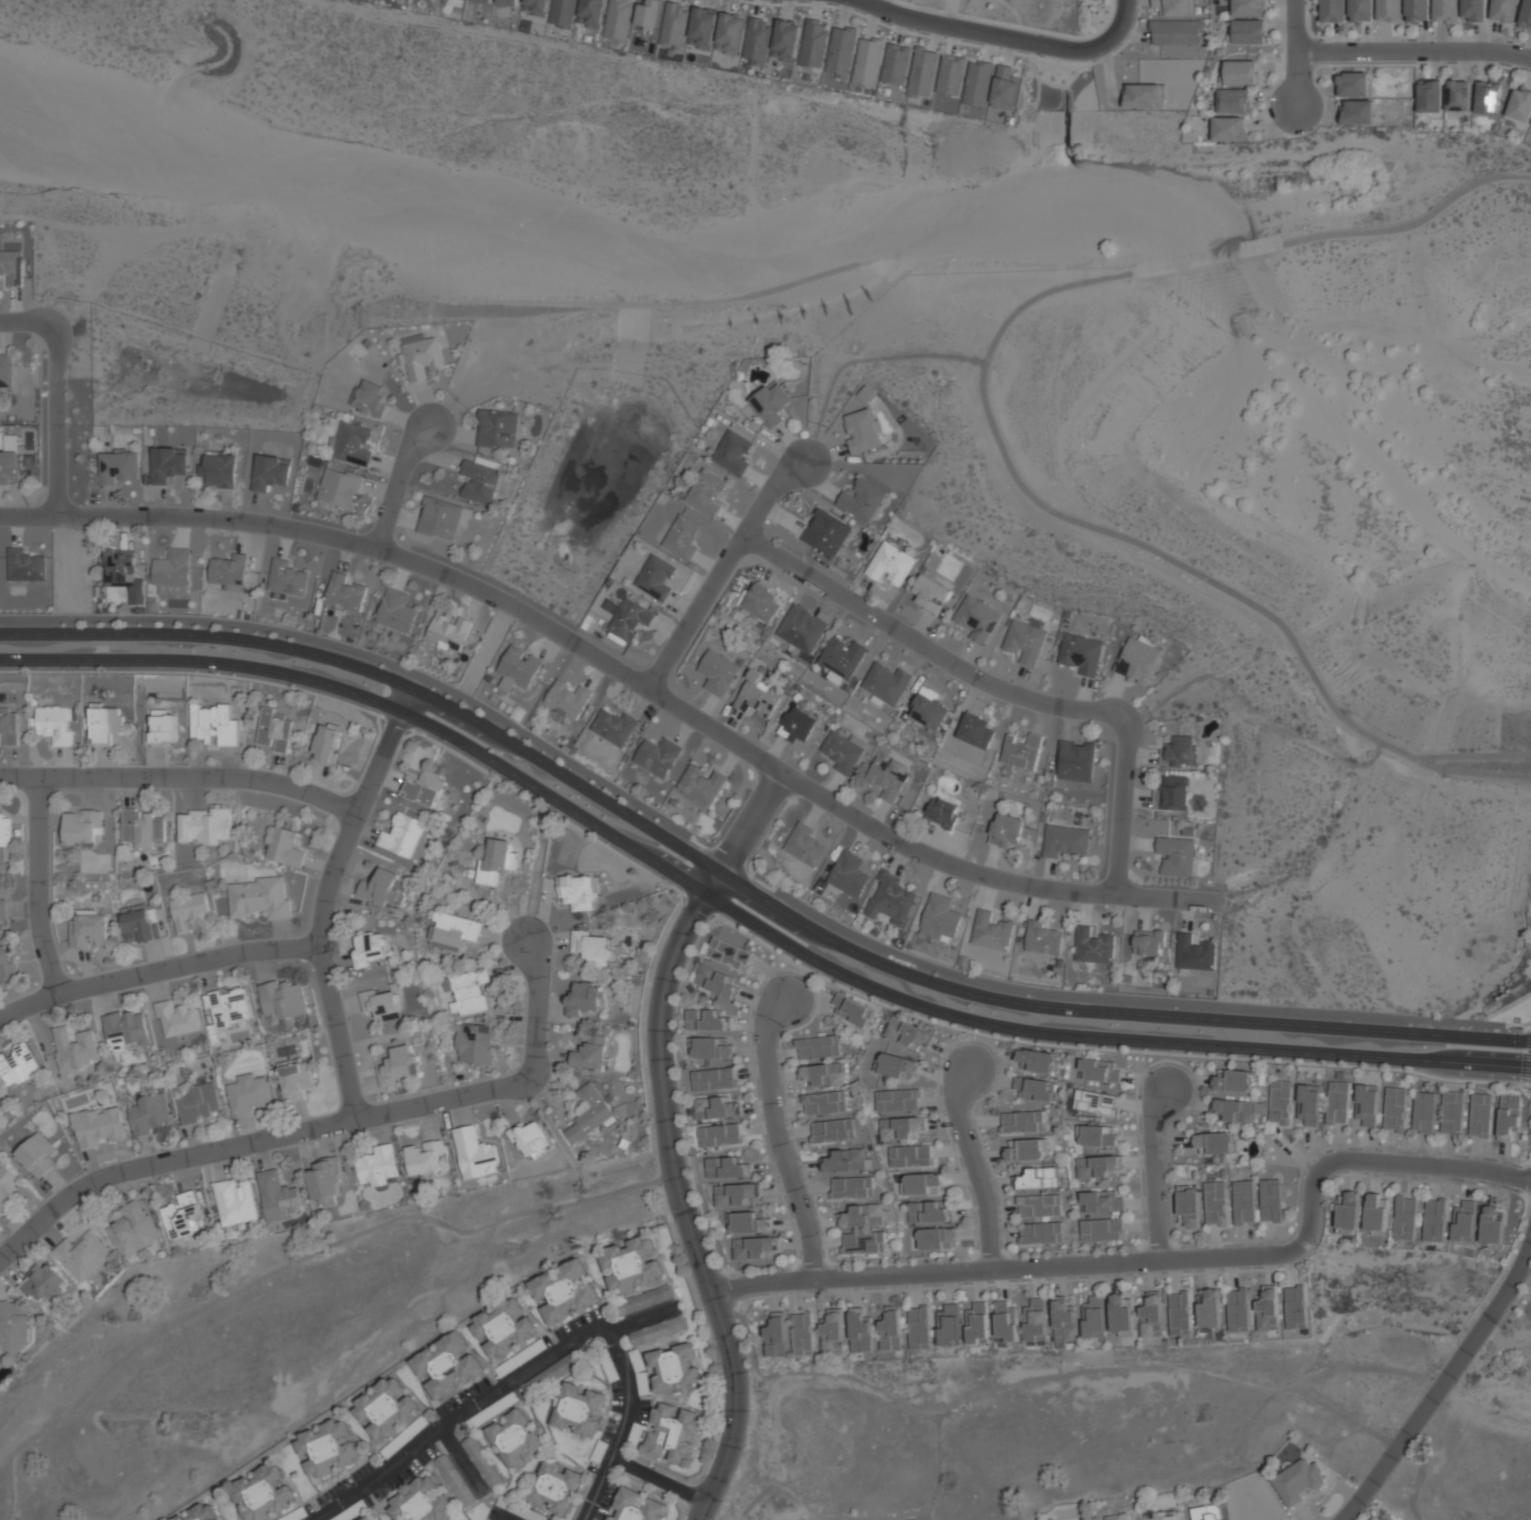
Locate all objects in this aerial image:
building: (484, 1)
building: (509, 2)
building: (535, 7)
building: (1175, 7)
building: (1248, 7)
building: (1473, 9)
building: (1361, 10)
building: (1388, 10)
building: (1417, 10)
building: (1503, 10)
building: (1333, 11)
building: (1445, 11)
building: (562, 13)
building: (591, 13)
building: (648, 13)
building: (1525, 14)
building: (617, 19)
building: (672, 25)
building: (703, 27)
building: (1249, 31)
building: (1175, 32)
building: (731, 33)
road: (1006, 37)
building: (785, 41)
street lamp: (1322, 41)
building: (813, 43)
building: (841, 51)
road: (1412, 51)
road: (1293, 52)
building: (867, 62)
building: (895, 64)
building: (1240, 72)
building: (922, 73)
building: (951, 75)
building: (977, 83)
building: (1353, 84)
building: (1005, 87)
building: (1458, 95)
building: (1145, 96)
building: (1430, 96)
building: (1488, 97)
building: (1233, 100)
building: (1520, 105)
building: (1358, 112)
building: (1228, 129)
river: (863, 238)
building: (11, 267)
building: (420, 356)
road: (857, 360)
building: (6, 371)
building: (866, 393)
road: (56, 397)
building: (369, 399)
building: (770, 404)
road: (986, 424)
building: (497, 430)
building: (863, 431)
building: (351, 443)
building: (734, 451)
building: (10, 460)
building: (168, 463)
building: (120, 468)
building: (219, 469)
building: (270, 472)
building: (479, 482)
road: (397, 485)
building: (339, 490)
building: (706, 492)
building: (862, 500)
road: (28, 516)
building: (439, 519)
building: (834, 536)
building: (682, 537)
building: (890, 564)
building: (24, 565)
building: (119, 568)
road: (720, 570)
building: (230, 571)
building: (172, 573)
building: (656, 577)
building: (285, 578)
building: (344, 593)
building: (930, 595)
building: (761, 602)
building: (396, 611)
building: (630, 619)
building: (977, 619)
building: (802, 629)
building: (448, 632)
building: (1026, 641)
building: (1082, 653)
building: (841, 657)
building: (1139, 659)
building: (518, 668)
building: (719, 673)
building: (833, 677)
building: (886, 683)
road: (646, 687)
road: (1000, 689)
road: (1250, 691)
building: (759, 697)
building: (568, 700)
building: (928, 708)
building: (104, 723)
building: (214, 723)
building: (55, 724)
building: (799, 725)
building: (9, 726)
building: (614, 727)
building: (162, 728)
building: (976, 730)
building: (273, 732)
building: (326, 744)
building: (1180, 751)
building: (844, 752)
building: (1022, 752)
building: (657, 755)
building: (1076, 761)
street lamp: (28, 764)
road: (1477, 769)
road: (181, 777)
building: (887, 777)
building: (702, 785)
building: (423, 788)
building: (1173, 794)
building: (942, 812)
building: (205, 826)
building: (84, 827)
building: (142, 827)
building: (1006, 829)
road: (744, 831)
building: (402, 835)
building: (5, 836)
building: (1065, 840)
building: (804, 844)
building: (283, 847)
building: (1177, 856)
building: (497, 861)
road: (537, 866)
building: (849, 874)
road: (37, 886)
road: (746, 886)
building: (383, 888)
building: (579, 892)
building: (260, 896)
road: (326, 896)
building: (891, 900)
building: (3, 909)
building: (189, 911)
road: (745, 914)
building: (940, 919)
building: (141, 926)
building: (89, 929)
building: (454, 929)
building: (991, 932)
building: (1043, 939)
building: (1150, 943)
building: (1094, 946)
building: (590, 947)
building: (369, 948)
building: (1195, 952)
building: (729, 954)
building: (7, 963)
street lamp: (245, 966)
road: (155, 971)
building: (716, 981)
building: (467, 991)
building: (584, 999)
building: (283, 1000)
building: (380, 1004)
building: (227, 1008)
road: (537, 1009)
building: (853, 1010)
street lamp: (808, 1017)
building: (177, 1019)
building: (706, 1020)
street lamp: (549, 1023)
building: (125, 1031)
building: (907, 1033)
building: (474, 1043)
building: (819, 1047)
building: (74, 1048)
building: (712, 1049)
building: (589, 1056)
building: (1039, 1060)
building: (17, 1065)
building: (397, 1066)
building: (897, 1066)
street lamp: (941, 1067)
street lamp: (1151, 1068)
building: (1100, 1071)
building: (822, 1074)
building: (713, 1078)
building: (295, 1079)
building: (1236, 1081)
building: (1035, 1089)
building: (248, 1093)
building: (897, 1100)
building: (1094, 1102)
building: (1281, 1102)
building: (1337, 1102)
building: (824, 1103)
building: (199, 1104)
building: (1308, 1104)
building: (1366, 1105)
building: (714, 1108)
building: (1395, 1109)
building: (1239, 1110)
building: (1423, 1112)
building: (1452, 1112)
building: (588, 1113)
building: (150, 1114)
building: (1480, 1115)
building: (1508, 1116)
building: (1022, 1122)
building: (99, 1126)
building: (899, 1128)
building: (833, 1131)
street lamp: (347, 1135)
building: (719, 1135)
building: (1098, 1136)
road: (777, 1137)
building: (529, 1138)
building: (1214, 1142)
road: (251, 1143)
building: (1025, 1151)
building: (474, 1154)
building: (36, 1155)
building: (910, 1156)
building: (425, 1157)
building: (845, 1160)
road: (974, 1165)
building: (378, 1166)
building: (1098, 1166)
building: (730, 1168)
road: (1153, 1173)
building: (1039, 1178)
building: (325, 1181)
building: (923, 1184)
building: (6, 1185)
building: (853, 1187)
street lamp: (1509, 1188)
building: (735, 1193)
building: (277, 1197)
building: (1270, 1200)
building: (1102, 1201)
building: (235, 1202)
building: (1244, 1202)
building: (1216, 1203)
building: (1039, 1205)
road: (681, 1206)
building: (1189, 1206)
building: (928, 1211)
building: (1349, 1211)
building: (1376, 1214)
building: (182, 1216)
building: (862, 1216)
building: (1405, 1218)
building: (1434, 1220)
building: (748, 1222)
building: (1464, 1222)
building: (1490, 1224)
building: (132, 1229)
building: (1102, 1229)
building: (1041, 1233)
street lamp: (8, 1234)
building: (937, 1238)
street lamp: (1317, 1242)
building: (864, 1243)
building: (753, 1248)
street lamp: (1132, 1251)
building: (82, 1255)
road: (1153, 1261)
building: (632, 1264)
street lamp: (843, 1267)
street lamp: (990, 1281)
building: (44, 1283)
building: (563, 1291)
building: (645, 1299)
building: (1295, 1308)
building: (1267, 1309)
building: (1210, 1310)
building: (1237, 1311)
building: (1180, 1314)
building: (1121, 1315)
building: (1151, 1315)
building: (1092, 1316)
road: (640, 1319)
building: (1035, 1320)
building: (1006, 1321)
building: (1063, 1321)
parking lot: (578, 1322)
building: (977, 1324)
building: (948, 1325)
building: (14, 1327)
building: (503, 1328)
building: (918, 1328)
building: (890, 1329)
building: (655, 1331)
building: (860, 1331)
building: (832, 1332)
building: (802, 1334)
building: (775, 1336)
parking lot: (521, 1358)
road: (541, 1361)
building: (446, 1365)
building: (674, 1367)
building: (551, 1374)
parking lot: (612, 1380)
road: (1446, 1384)
parking lot: (462, 1397)
parking lot: (496, 1408)
building: (577, 1409)
building: (385, 1410)
parking lot: (639, 1423)
building: (671, 1433)
building: (514, 1437)
parking lot: (404, 1438)
parking lot: (601, 1445)
building: (326, 1449)
road: (461, 1460)
building: (481, 1462)
parking lot: (406, 1472)
building: (454, 1480)
road: (658, 1480)
building: (1297, 1481)
parking lot: (346, 1482)
building: (554, 1487)
building: (266, 1489)
building: (421, 1501)
parking lot: (606, 1501)
building: (636, 1507)
parking lot: (355, 1509)
parking lot: (518, 1509)
building: (519, 1510)
building: (199, 1513)
parking lot: (298, 1513)
building: (1205, 1513)
road: (499, 1515)
building: (1165, 1515)
building: (1119, 1516)
building: (1378, 1517)
building: (369, 1518)

